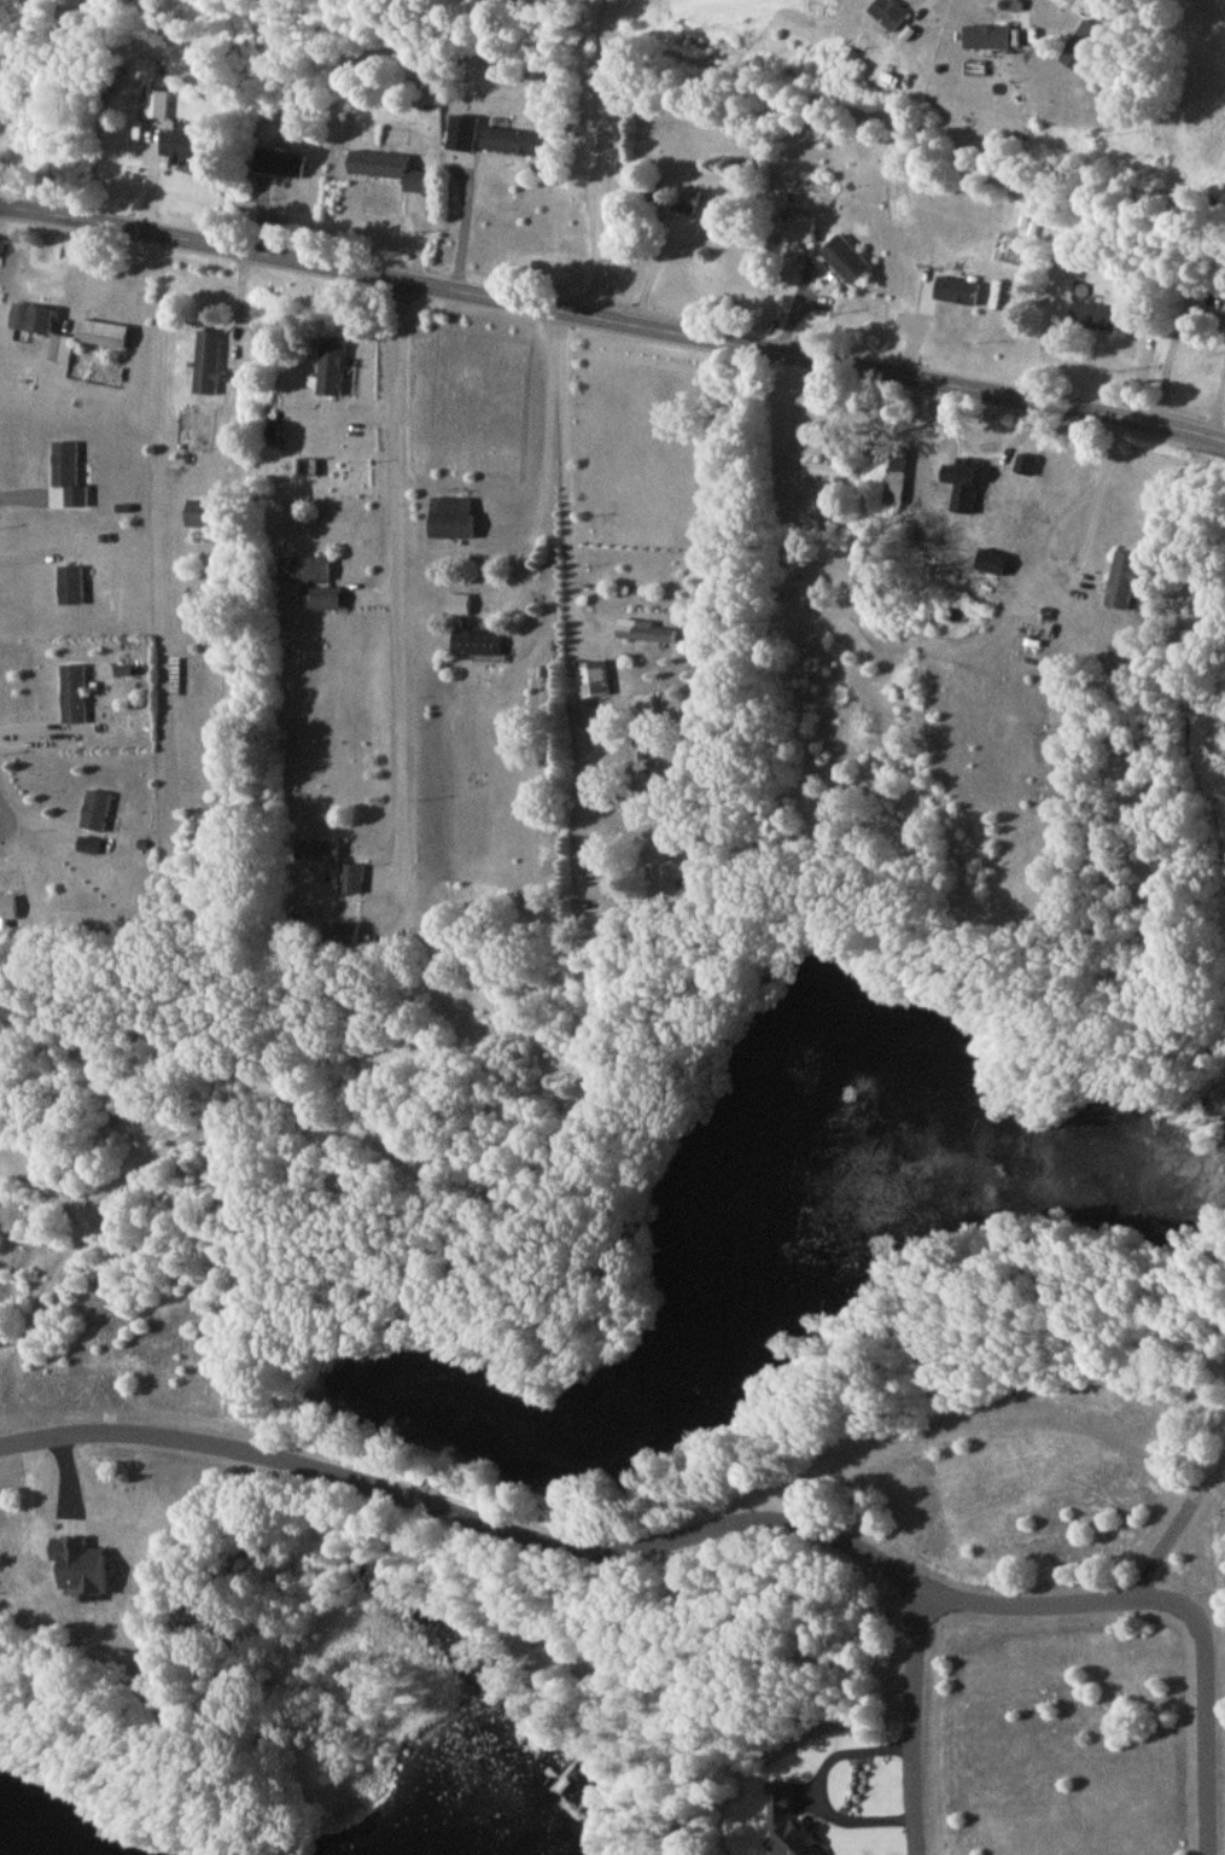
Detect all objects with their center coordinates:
road: (622, 0)
road: (1078, 8)
building: (886, 21)
building: (984, 43)
building: (1078, 52)
building: (154, 110)
building: (461, 140)
building: (512, 147)
building: (181, 151)
road: (603, 159)
building: (278, 168)
building: (385, 175)
building: (684, 202)
road: (451, 229)
building: (797, 238)
building: (844, 266)
building: (953, 296)
building: (1092, 322)
building: (29, 324)
road: (613, 324)
building: (100, 339)
building: (59, 354)
road: (1172, 354)
building: (206, 368)
building: (329, 372)
road: (1220, 415)
building: (828, 476)
road: (544, 482)
building: (897, 482)
road: (570, 488)
building: (959, 490)
building: (200, 519)
building: (448, 524)
road: (1067, 554)
building: (303, 574)
building: (1120, 585)
road: (398, 589)
building: (70, 591)
building: (325, 603)
building: (644, 636)
building: (473, 646)
building: (590, 685)
building: (72, 699)
building: (95, 816)
building: (350, 884)
building: (7, 913)
building: (339, 941)
road: (594, 1553)
road: (1207, 1726)
road: (911, 1728)
road: (830, 1769)

